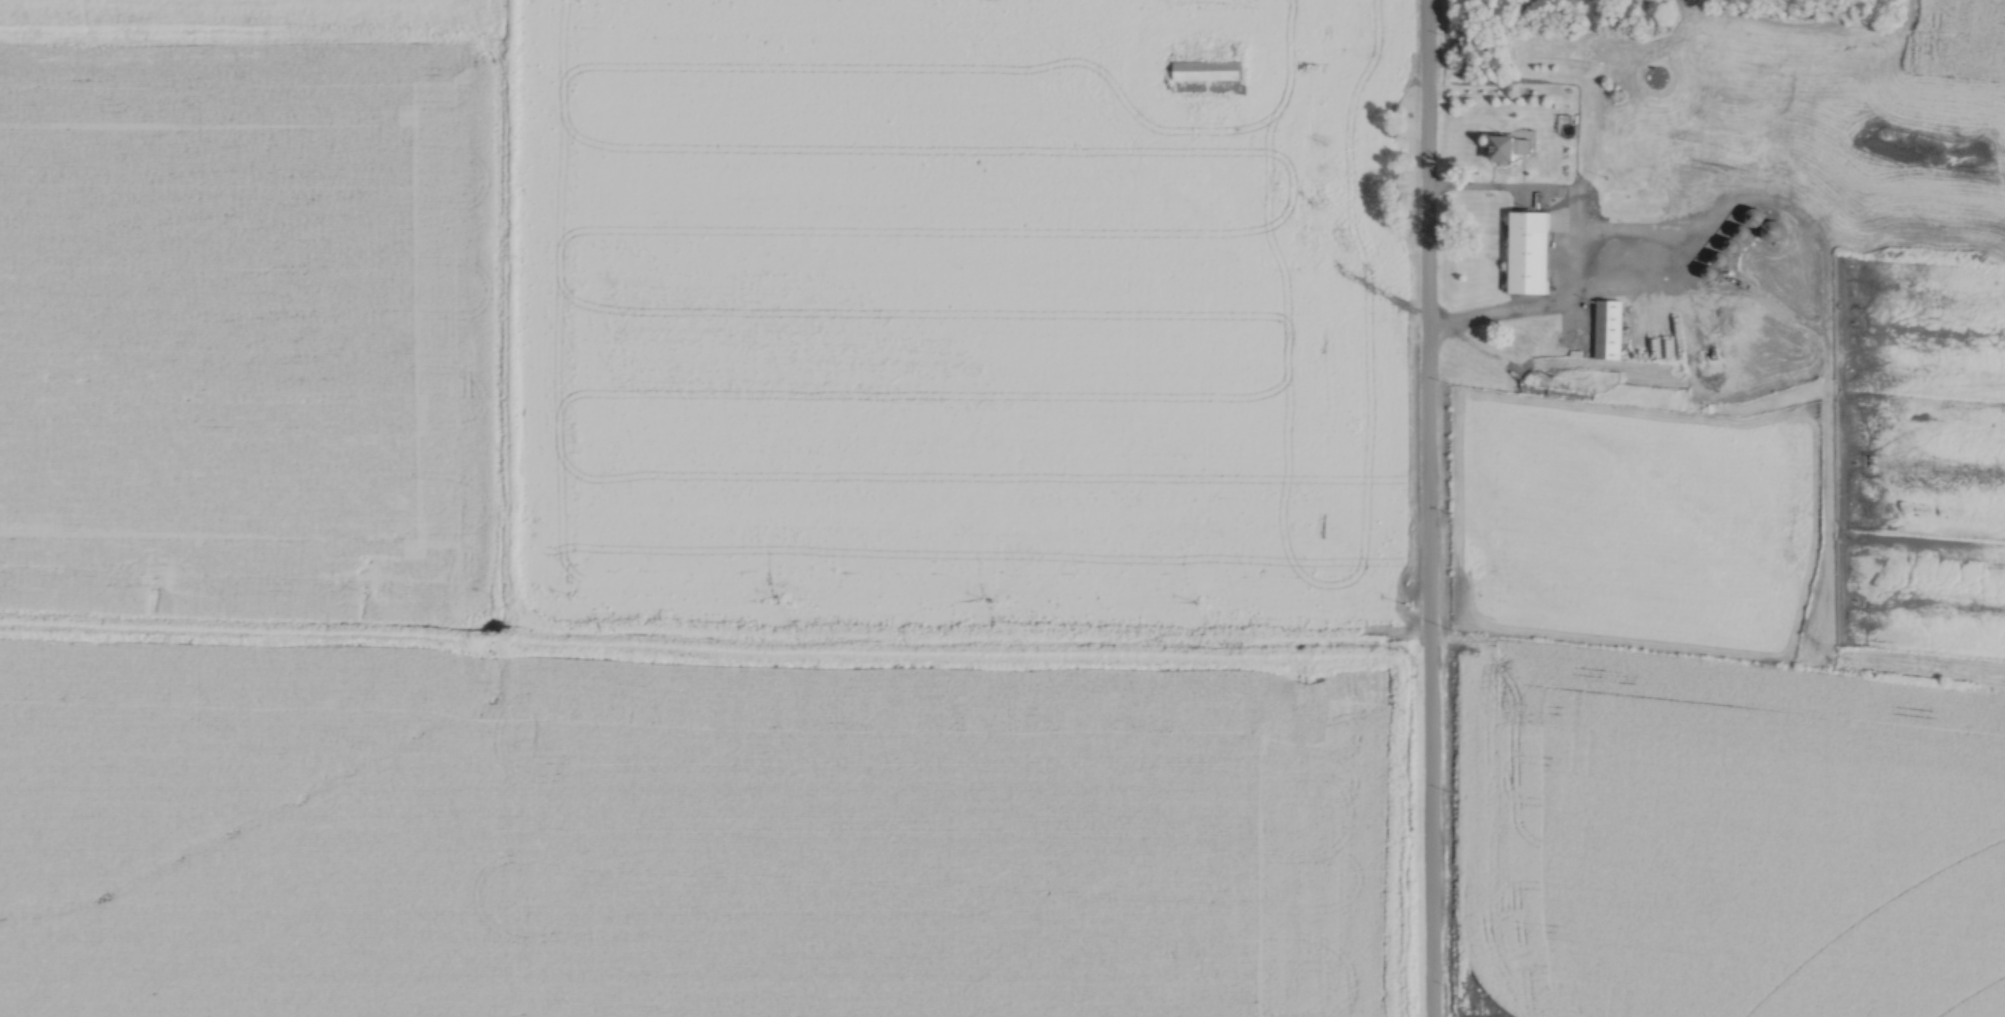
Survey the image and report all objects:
building: (1206, 66)
building: (1506, 144)
building: (1735, 169)
building: (1529, 249)
road: (1567, 252)
building: (1608, 326)
road: (1426, 508)

